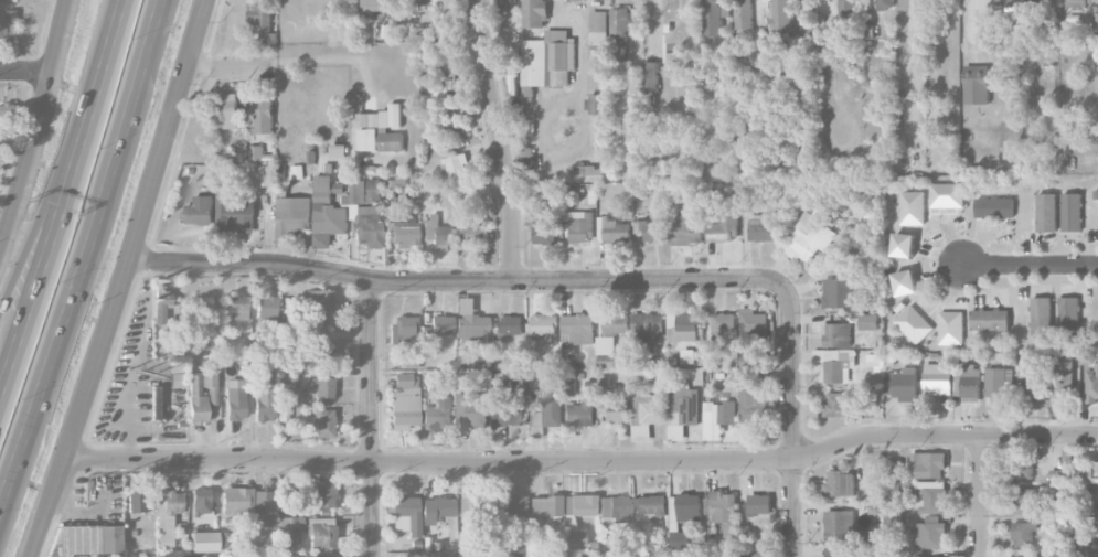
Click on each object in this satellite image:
building: (420, 0)
building: (1034, 1)
building: (1003, 2)
building: (1076, 2)
building: (375, 4)
building: (505, 4)
building: (885, 4)
building: (449, 9)
building: (846, 9)
building: (534, 12)
building: (744, 14)
building: (711, 18)
building: (779, 19)
building: (263, 23)
building: (6, 24)
building: (619, 24)
building: (599, 28)
building: (1044, 29)
road: (584, 47)
road: (106, 52)
building: (548, 60)
road: (230, 66)
road: (28, 72)
building: (451, 73)
building: (650, 78)
building: (977, 84)
building: (1032, 101)
building: (598, 104)
building: (231, 111)
building: (265, 116)
road: (39, 126)
building: (526, 127)
building: (380, 129)
road: (499, 140)
building: (601, 143)
road: (558, 147)
building: (338, 151)
building: (256, 153)
building: (527, 156)
building: (456, 165)
building: (586, 172)
building: (267, 174)
building: (374, 190)
building: (947, 194)
road: (44, 206)
building: (913, 207)
building: (994, 207)
building: (201, 210)
building: (1046, 212)
building: (1072, 212)
building: (327, 213)
building: (236, 214)
building: (363, 215)
building: (292, 217)
building: (578, 225)
building: (723, 226)
building: (763, 227)
building: (814, 227)
building: (686, 228)
building: (612, 229)
building: (473, 231)
building: (651, 231)
building: (404, 232)
building: (438, 233)
building: (544, 234)
road: (47, 245)
building: (904, 245)
road: (83, 253)
road: (1028, 265)
road: (121, 279)
building: (906, 281)
road: (455, 282)
building: (839, 292)
building: (161, 306)
building: (265, 306)
building: (320, 306)
building: (237, 308)
building: (184, 311)
building: (1041, 315)
building: (1069, 315)
building: (990, 319)
building: (868, 321)
building: (724, 322)
building: (512, 324)
building: (751, 324)
building: (914, 324)
building: (544, 326)
building: (648, 326)
building: (682, 326)
building: (401, 328)
building: (578, 328)
building: (950, 328)
building: (436, 329)
building: (471, 329)
building: (836, 334)
building: (610, 338)
building: (323, 354)
building: (751, 357)
building: (835, 363)
building: (287, 375)
building: (1062, 377)
building: (937, 378)
building: (177, 379)
building: (1030, 381)
building: (995, 382)
building: (902, 383)
building: (1091, 383)
building: (568, 385)
building: (970, 385)
building: (639, 386)
building: (322, 388)
building: (264, 393)
building: (201, 394)
building: (871, 394)
building: (747, 395)
building: (404, 400)
building: (154, 403)
building: (235, 404)
building: (836, 404)
building: (542, 407)
building: (472, 409)
building: (682, 409)
building: (618, 410)
building: (507, 411)
building: (578, 414)
building: (647, 415)
building: (438, 416)
road: (372, 418)
building: (717, 418)
road: (793, 420)
building: (323, 424)
road: (584, 462)
building: (928, 464)
building: (1023, 465)
building: (893, 468)
building: (1073, 469)
building: (840, 483)
building: (893, 489)
building: (1062, 493)
building: (323, 495)
building: (934, 495)
road: (982, 496)
building: (135, 501)
building: (200, 501)
building: (1027, 501)
building: (236, 502)
building: (760, 503)
building: (512, 504)
building: (650, 504)
building: (262, 507)
building: (436, 508)
building: (544, 508)
building: (615, 508)
building: (683, 508)
building: (875, 508)
road: (66, 510)
building: (723, 510)
building: (168, 514)
building: (405, 515)
building: (568, 522)
building: (840, 525)
building: (289, 529)
building: (874, 531)
building: (320, 532)
building: (1024, 533)
building: (929, 534)
building: (82, 539)
building: (679, 539)
building: (204, 542)
building: (842, 551)
building: (411, 555)
building: (502, 555)
building: (540, 555)
building: (643, 555)
building: (1028, 556)

